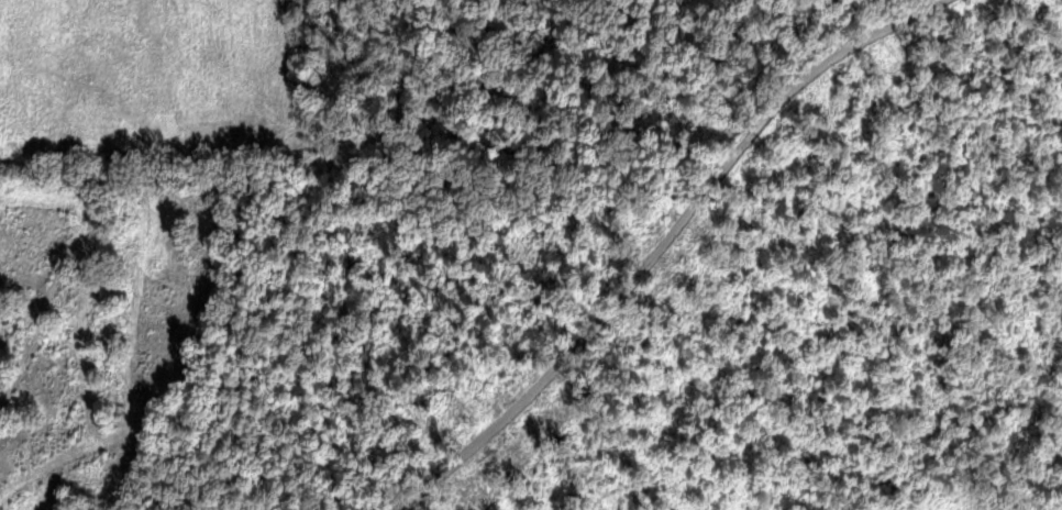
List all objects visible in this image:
road: (668, 248)

